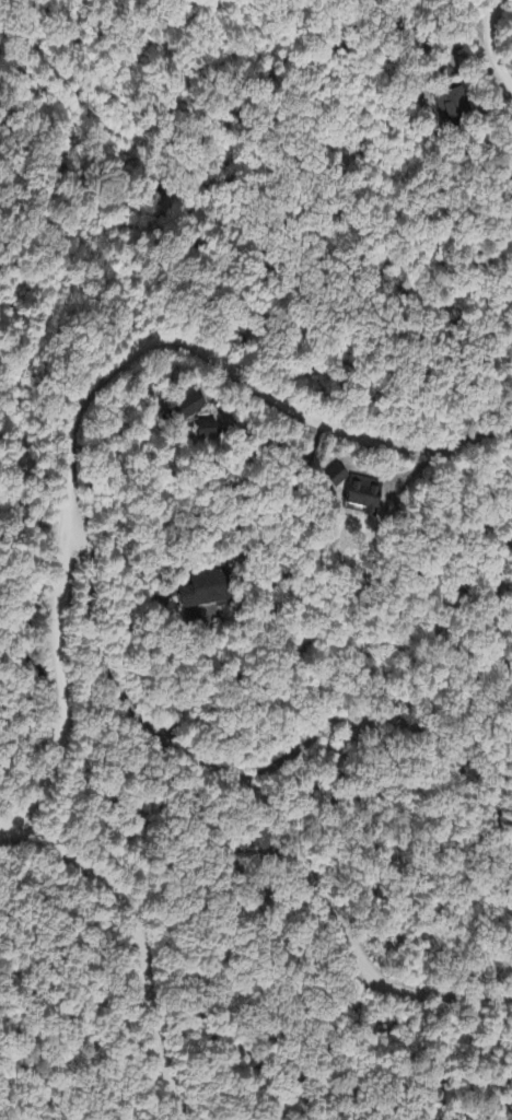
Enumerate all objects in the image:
road: (490, 43)
building: (444, 105)
road: (88, 384)
building: (179, 406)
building: (200, 431)
building: (331, 477)
building: (359, 498)
building: (199, 594)
road: (491, 604)
road: (39, 670)
road: (198, 678)
road: (260, 793)
road: (140, 943)

